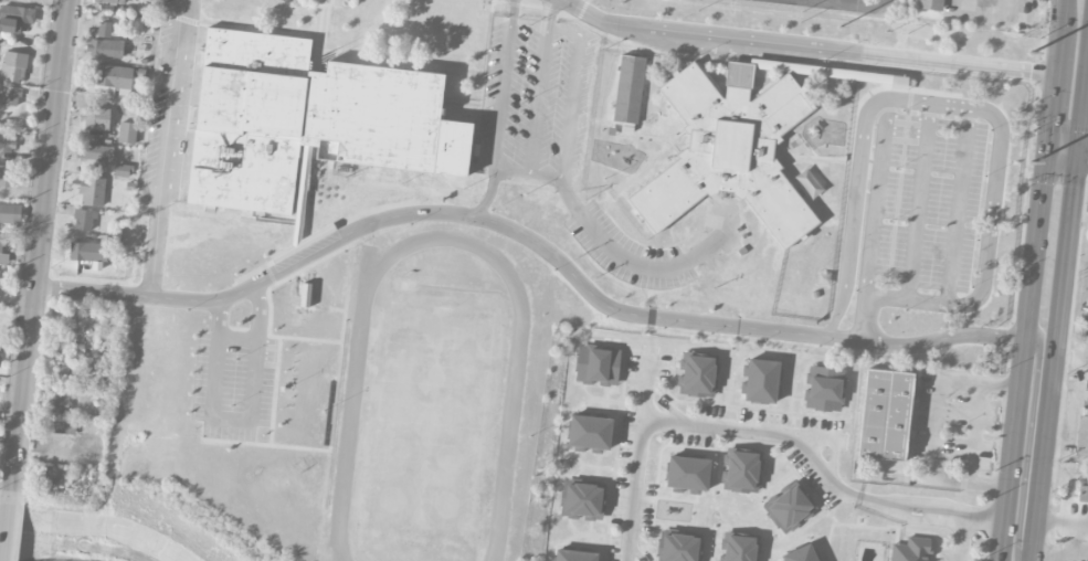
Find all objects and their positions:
road: (1024, 0)
building: (108, 1)
power tower: (623, 3)
road: (856, 3)
building: (931, 4)
building: (14, 18)
power tower: (839, 27)
road: (1060, 28)
building: (104, 30)
building: (105, 47)
road: (804, 47)
power tower: (1032, 53)
building: (13, 66)
building: (112, 78)
building: (628, 89)
building: (10, 96)
road: (538, 102)
road: (922, 102)
road: (1053, 104)
road: (1082, 112)
building: (96, 118)
building: (307, 120)
building: (127, 133)
building: (7, 144)
road: (171, 148)
building: (729, 150)
building: (95, 152)
traffic signals: (1047, 154)
road: (1063, 155)
traffic signals: (1078, 157)
road: (1082, 157)
power tower: (1032, 162)
building: (122, 170)
road: (546, 176)
building: (7, 177)
building: (92, 191)
road: (488, 195)
road: (879, 197)
road: (919, 201)
road: (958, 207)
building: (10, 213)
building: (84, 220)
road: (532, 240)
road: (40, 245)
building: (2, 251)
building: (87, 252)
road: (622, 255)
building: (304, 295)
road: (884, 297)
building: (73, 357)
road: (1024, 357)
road: (1071, 357)
road: (1055, 359)
building: (598, 366)
building: (698, 375)
building: (761, 381)
building: (824, 389)
building: (59, 404)
building: (885, 414)
road: (244, 417)
road: (695, 424)
building: (59, 426)
road: (933, 430)
building: (590, 434)
building: (1081, 437)
road: (1028, 447)
road: (1065, 468)
building: (742, 470)
building: (687, 475)
building: (57, 476)
building: (1084, 490)
building: (582, 501)
road: (870, 501)
road: (925, 507)
building: (789, 508)
road: (928, 514)
road: (984, 518)
road: (1063, 518)
road: (923, 519)
road: (7, 526)
road: (960, 539)
building: (678, 547)
building: (739, 548)
building: (910, 550)
road: (1059, 550)
building: (801, 554)
building: (574, 555)
road: (1067, 555)

